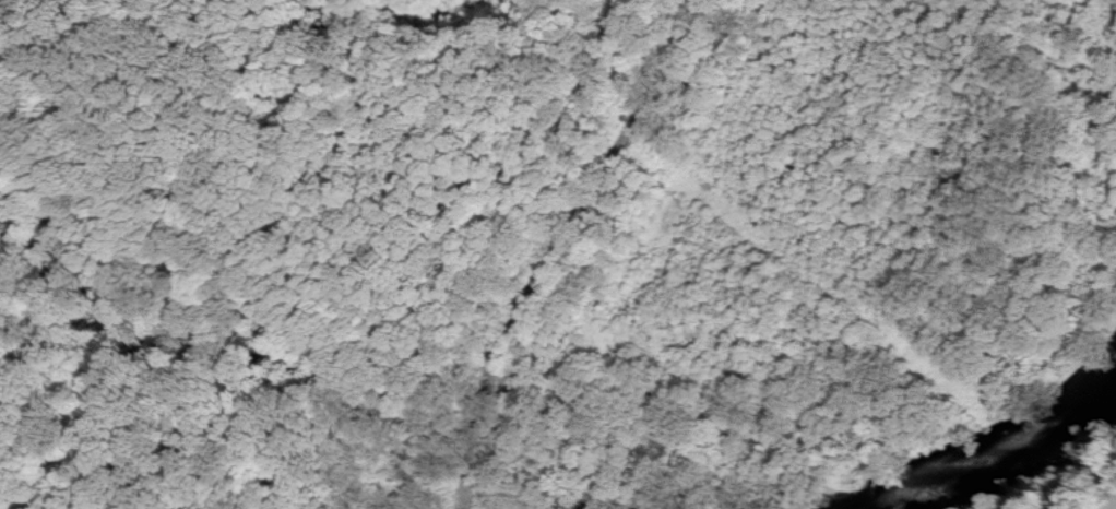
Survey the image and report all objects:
road: (553, 242)
river: (969, 465)
road: (1115, 508)

